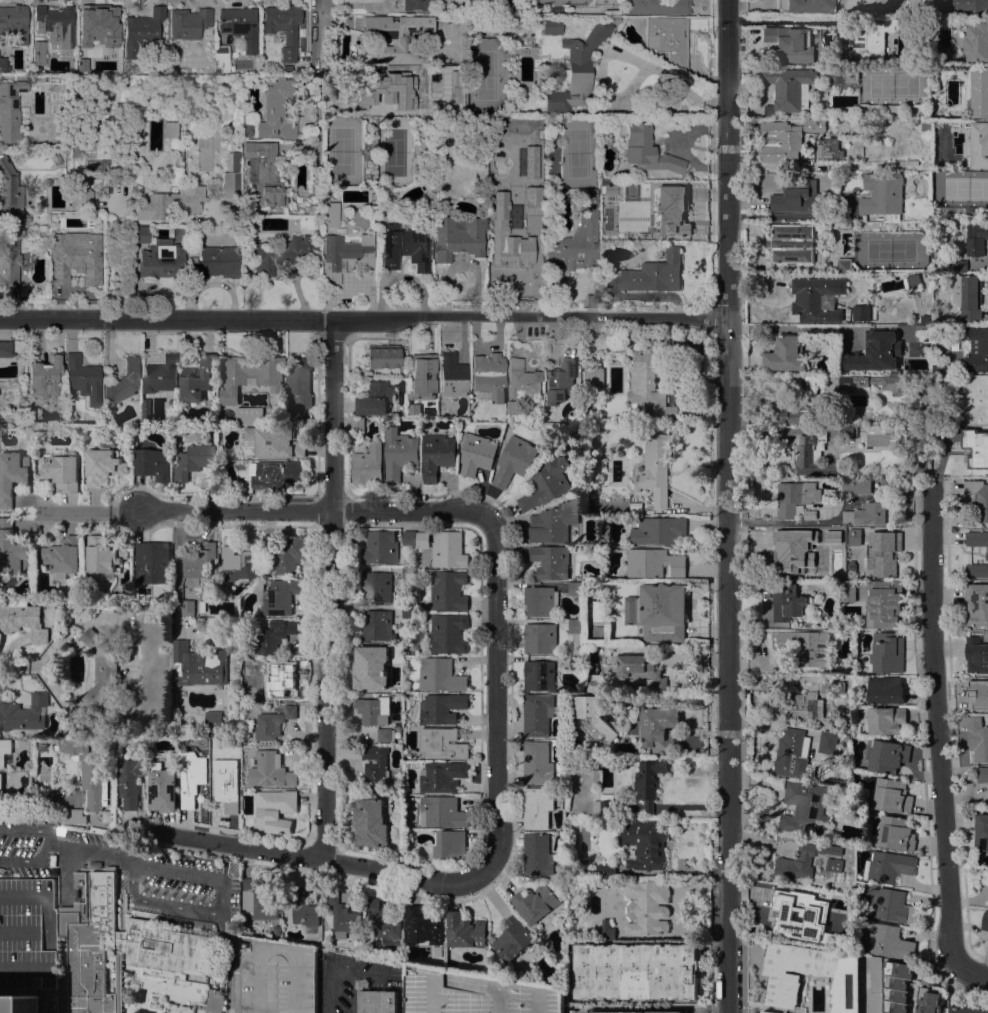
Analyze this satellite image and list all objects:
building: (444, 0)
building: (559, 1)
building: (416, 5)
building: (806, 6)
building: (965, 6)
building: (657, 7)
building: (615, 20)
road: (784, 20)
building: (14, 23)
building: (55, 23)
building: (188, 23)
building: (96, 24)
building: (551, 25)
building: (239, 26)
building: (283, 27)
building: (141, 31)
road: (315, 34)
building: (397, 37)
building: (868, 38)
building: (667, 39)
building: (976, 43)
building: (794, 46)
building: (38, 53)
road: (619, 54)
building: (221, 57)
building: (113, 63)
building: (4, 65)
building: (288, 67)
building: (575, 73)
building: (839, 75)
building: (39, 78)
building: (788, 89)
building: (391, 90)
building: (979, 93)
building: (352, 102)
building: (893, 108)
building: (275, 109)
building: (10, 111)
building: (246, 130)
building: (171, 134)
building: (549, 139)
building: (785, 139)
building: (979, 145)
building: (828, 148)
building: (646, 150)
building: (529, 162)
building: (95, 166)
building: (263, 174)
building: (47, 182)
building: (108, 183)
building: (232, 187)
building: (607, 190)
building: (10, 193)
building: (82, 196)
building: (798, 196)
building: (883, 196)
building: (67, 201)
building: (171, 202)
building: (498, 205)
building: (529, 207)
building: (659, 209)
building: (970, 209)
building: (330, 215)
road: (797, 216)
building: (891, 225)
building: (142, 235)
building: (458, 237)
building: (576, 237)
building: (976, 239)
building: (791, 243)
building: (404, 248)
building: (512, 250)
building: (279, 253)
building: (344, 256)
building: (74, 258)
road: (116, 261)
building: (161, 261)
building: (214, 263)
building: (845, 265)
building: (9, 266)
building: (958, 266)
building: (654, 273)
building: (912, 281)
road: (213, 282)
building: (968, 297)
building: (817, 298)
building: (861, 312)
road: (363, 319)
road: (791, 328)
building: (975, 347)
building: (5, 349)
building: (785, 354)
building: (876, 354)
building: (382, 358)
building: (616, 359)
building: (940, 369)
building: (161, 375)
building: (452, 375)
building: (44, 376)
building: (251, 376)
building: (422, 377)
building: (489, 377)
building: (83, 379)
building: (594, 379)
building: (561, 381)
building: (198, 382)
building: (298, 383)
building: (650, 383)
building: (871, 383)
building: (122, 385)
building: (521, 385)
building: (375, 398)
building: (813, 402)
building: (146, 408)
building: (249, 416)
building: (279, 419)
building: (357, 424)
building: (849, 432)
building: (28, 436)
building: (274, 442)
building: (976, 447)
building: (399, 453)
building: (476, 453)
building: (437, 455)
building: (814, 456)
building: (194, 460)
building: (514, 461)
building: (153, 464)
building: (367, 464)
building: (103, 466)
building: (656, 469)
building: (62, 471)
building: (275, 474)
building: (12, 475)
building: (546, 483)
building: (856, 485)
building: (796, 499)
building: (978, 499)
road: (728, 506)
building: (591, 507)
road: (324, 514)
building: (866, 514)
road: (126, 515)
road: (67, 516)
building: (554, 522)
road: (791, 522)
building: (658, 530)
building: (855, 536)
building: (409, 538)
building: (977, 538)
building: (423, 540)
building: (834, 540)
building: (270, 542)
building: (380, 547)
building: (448, 550)
building: (12, 552)
building: (884, 552)
building: (795, 554)
building: (103, 555)
building: (292, 555)
building: (987, 556)
building: (62, 557)
building: (200, 561)
building: (550, 561)
building: (152, 563)
building: (242, 563)
building: (654, 563)
building: (851, 565)
building: (977, 570)
building: (409, 572)
building: (377, 587)
building: (576, 588)
road: (336, 590)
building: (448, 590)
building: (848, 590)
building: (277, 596)
building: (539, 601)
building: (787, 602)
building: (885, 603)
building: (977, 604)
building: (202, 605)
building: (187, 607)
building: (659, 611)
building: (409, 612)
building: (23, 621)
building: (377, 626)
building: (576, 626)
building: (449, 633)
building: (273, 636)
building: (540, 638)
building: (809, 646)
building: (887, 652)
building: (976, 655)
building: (576, 662)
building: (200, 665)
building: (851, 666)
building: (371, 667)
road: (5, 668)
building: (100, 669)
building: (639, 671)
building: (441, 675)
building: (540, 675)
building: (834, 675)
building: (265, 679)
building: (596, 682)
building: (830, 686)
building: (885, 689)
building: (978, 693)
road: (500, 699)
building: (800, 702)
building: (442, 707)
building: (373, 709)
building: (24, 712)
building: (538, 713)
building: (594, 717)
building: (887, 720)
road: (939, 720)
building: (273, 722)
building: (215, 723)
building: (248, 724)
building: (833, 725)
building: (844, 725)
building: (659, 728)
building: (386, 734)
building: (977, 739)
building: (828, 742)
building: (442, 743)
building: (4, 749)
building: (792, 754)
building: (887, 756)
building: (538, 762)
building: (273, 767)
building: (374, 770)
building: (982, 774)
building: (442, 776)
building: (193, 777)
building: (93, 778)
building: (129, 781)
building: (227, 782)
building: (648, 782)
building: (4, 786)
building: (163, 790)
building: (893, 796)
building: (603, 804)
building: (537, 807)
building: (808, 807)
building: (836, 809)
building: (275, 810)
building: (442, 811)
building: (73, 816)
building: (371, 823)
road: (27, 829)
building: (981, 831)
building: (897, 833)
building: (450, 843)
building: (644, 843)
road: (93, 852)
building: (537, 854)
road: (29, 859)
road: (319, 859)
building: (802, 860)
building: (834, 864)
building: (888, 867)
building: (605, 870)
road: (672, 871)
road: (192, 873)
building: (984, 877)
building: (262, 900)
road: (162, 902)
building: (535, 903)
building: (647, 906)
building: (895, 906)
building: (306, 914)
building: (342, 916)
building: (795, 916)
building: (985, 921)
building: (385, 924)
building: (424, 926)
building: (465, 930)
building: (605, 931)
building: (513, 938)
building: (890, 941)
building: (116, 946)
road: (231, 961)
road: (340, 966)
road: (972, 970)
building: (637, 971)
building: (783, 976)
building: (277, 977)
building: (924, 981)
building: (874, 984)
building: (897, 986)
building: (191, 992)
building: (475, 993)
building: (929, 999)
building: (379, 1001)
building: (215, 1002)
building: (19, 1003)
building: (967, 1009)
building: (767, 1011)
building: (636, 1012)

